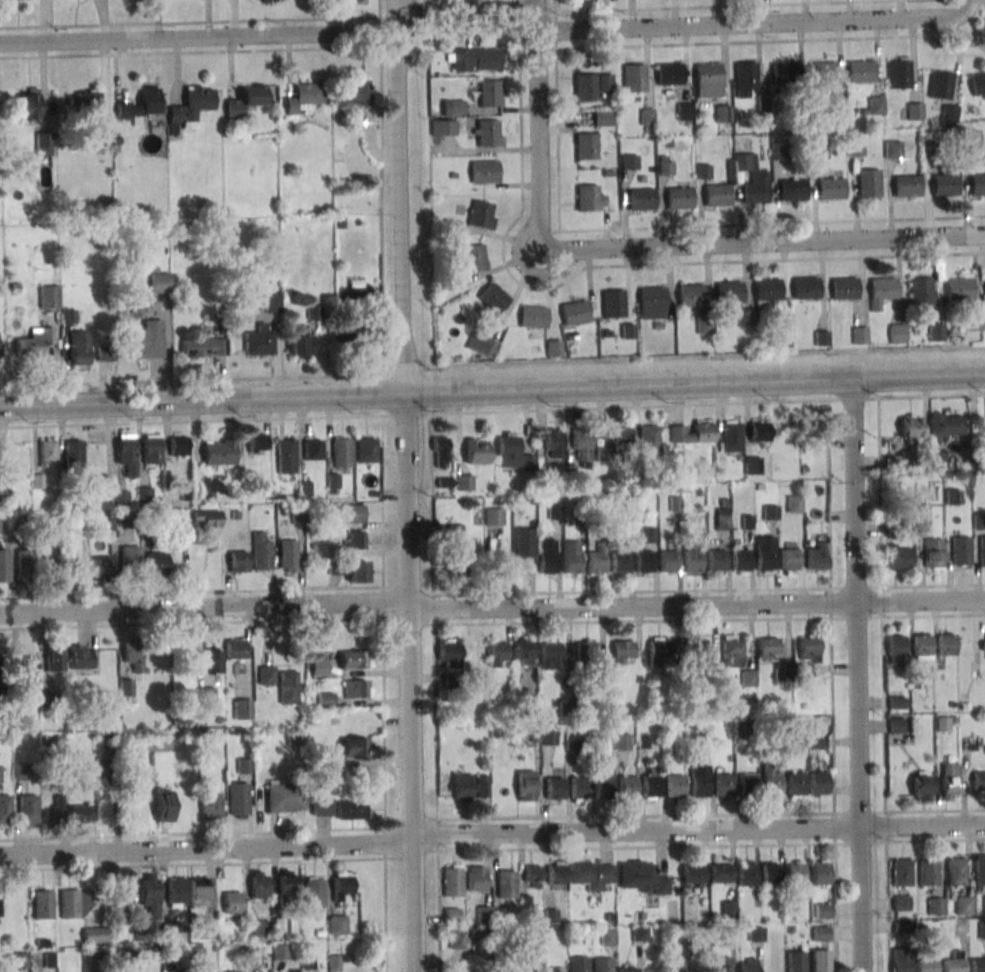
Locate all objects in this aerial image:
road: (738, 6)
road: (462, 12)
road: (518, 14)
road: (199, 23)
road: (757, 24)
road: (199, 38)
road: (772, 41)
road: (353, 48)
building: (475, 59)
building: (861, 70)
building: (785, 72)
building: (822, 72)
building: (899, 72)
building: (669, 73)
building: (707, 73)
building: (634, 78)
building: (746, 79)
building: (591, 85)
building: (940, 85)
building: (978, 85)
building: (354, 92)
building: (487, 93)
building: (303, 98)
building: (83, 100)
building: (244, 100)
building: (28, 104)
building: (140, 104)
building: (876, 105)
building: (190, 107)
building: (453, 107)
building: (914, 111)
building: (722, 113)
building: (949, 114)
building: (837, 115)
building: (602, 118)
building: (648, 121)
road: (539, 124)
building: (443, 127)
building: (487, 132)
building: (103, 137)
building: (42, 144)
building: (586, 146)
building: (856, 148)
building: (818, 149)
building: (893, 149)
building: (778, 150)
building: (629, 162)
building: (665, 165)
building: (484, 172)
building: (869, 182)
building: (944, 184)
building: (977, 184)
building: (907, 185)
building: (831, 188)
building: (792, 189)
building: (755, 191)
building: (717, 194)
building: (590, 198)
building: (639, 198)
building: (678, 198)
building: (482, 214)
road: (656, 228)
road: (764, 242)
building: (474, 258)
road: (524, 266)
road: (567, 279)
building: (160, 281)
building: (805, 287)
building: (844, 287)
building: (882, 287)
building: (767, 288)
building: (959, 288)
building: (728, 291)
building: (920, 291)
building: (356, 294)
building: (690, 294)
building: (49, 296)
building: (494, 297)
building: (651, 297)
building: (269, 302)
building: (613, 303)
building: (314, 312)
building: (575, 312)
building: (533, 316)
building: (974, 322)
building: (937, 332)
building: (897, 334)
building: (860, 335)
building: (259, 340)
building: (36, 341)
building: (145, 341)
building: (302, 343)
building: (203, 345)
building: (482, 345)
building: (554, 348)
building: (80, 349)
building: (105, 353)
road: (492, 363)
road: (492, 391)
building: (945, 426)
building: (910, 428)
building: (759, 431)
building: (693, 433)
building: (785, 434)
building: (621, 435)
building: (732, 436)
building: (648, 439)
building: (256, 443)
building: (553, 443)
building: (178, 445)
building: (581, 446)
building: (151, 449)
building: (313, 450)
building: (366, 450)
building: (48, 451)
building: (476, 451)
building: (219, 452)
building: (342, 452)
building: (440, 452)
building: (72, 453)
building: (126, 453)
building: (513, 454)
building: (285, 456)
building: (938, 458)
building: (752, 465)
building: (463, 482)
building: (145, 494)
building: (5, 495)
building: (119, 497)
building: (953, 497)
road: (406, 502)
building: (794, 504)
building: (771, 512)
building: (350, 513)
building: (494, 516)
building: (208, 518)
building: (722, 518)
building: (106, 523)
building: (77, 524)
building: (453, 532)
building: (648, 534)
building: (355, 540)
building: (524, 542)
building: (961, 550)
building: (982, 550)
building: (261, 552)
building: (766, 554)
building: (933, 554)
building: (288, 555)
building: (130, 556)
building: (547, 556)
building: (816, 556)
building: (572, 557)
building: (900, 558)
building: (597, 559)
building: (717, 560)
building: (238, 561)
building: (645, 561)
building: (669, 561)
building: (742, 561)
building: (790, 561)
building: (621, 562)
building: (693, 562)
building: (26, 563)
building: (157, 563)
building: (456, 564)
building: (3, 565)
building: (498, 566)
building: (102, 569)
building: (359, 571)
road: (492, 605)
road: (881, 631)
building: (946, 644)
building: (983, 644)
building: (922, 647)
building: (896, 648)
building: (236, 649)
building: (768, 649)
building: (693, 650)
building: (732, 651)
building: (523, 652)
building: (621, 652)
building: (659, 652)
building: (586, 653)
building: (133, 654)
building: (449, 654)
building: (498, 654)
building: (550, 655)
building: (807, 656)
building: (54, 657)
building: (78, 657)
building: (355, 659)
building: (209, 661)
building: (319, 666)
building: (1, 668)
building: (782, 672)
building: (29, 673)
building: (267, 675)
road: (857, 676)
building: (748, 678)
building: (288, 687)
building: (357, 689)
building: (126, 691)
building: (206, 695)
building: (325, 700)
building: (897, 702)
building: (242, 708)
building: (944, 723)
building: (899, 725)
building: (534, 735)
building: (293, 737)
building: (548, 737)
building: (572, 741)
building: (621, 741)
building: (597, 742)
building: (159, 743)
building: (354, 747)
building: (20, 771)
building: (0, 773)
building: (101, 773)
building: (603, 779)
building: (699, 780)
building: (771, 781)
building: (949, 781)
building: (978, 781)
building: (748, 783)
building: (818, 783)
building: (651, 784)
building: (796, 784)
building: (526, 785)
building: (724, 785)
building: (921, 785)
building: (470, 786)
building: (675, 786)
building: (554, 788)
building: (627, 788)
building: (579, 789)
building: (285, 797)
building: (226, 801)
building: (163, 806)
building: (321, 806)
building: (5, 809)
building: (26, 809)
building: (351, 810)
building: (54, 811)
building: (80, 815)
road: (491, 832)
road: (436, 834)
building: (979, 870)
building: (720, 871)
building: (955, 871)
building: (794, 872)
building: (901, 872)
building: (927, 872)
building: (693, 873)
building: (746, 873)
building: (770, 873)
building: (820, 873)
building: (556, 874)
building: (532, 876)
building: (591, 877)
building: (641, 877)
building: (476, 879)
building: (452, 881)
building: (286, 883)
building: (506, 883)
building: (258, 885)
building: (343, 887)
building: (199, 891)
building: (123, 892)
building: (176, 892)
building: (314, 892)
building: (150, 895)
building: (70, 903)
building: (233, 903)
building: (900, 903)
building: (43, 904)
building: (983, 904)
building: (935, 905)
building: (963, 905)
building: (728, 910)
building: (823, 910)
road: (437, 911)
building: (0, 913)
building: (452, 915)
building: (550, 916)
building: (337, 923)
building: (256, 928)
building: (981, 930)
building: (209, 931)
building: (756, 933)
building: (821, 933)
building: (94, 934)
building: (462, 939)
building: (197, 952)
building: (280, 952)
building: (170, 954)
building: (21, 961)
building: (796, 961)
building: (820, 961)
building: (579, 964)
building: (603, 964)
building: (901, 964)
building: (676, 965)
building: (748, 965)
building: (925, 965)
building: (953, 965)
building: (978, 965)
building: (529, 969)
building: (555, 969)
building: (627, 969)
building: (233, 971)

